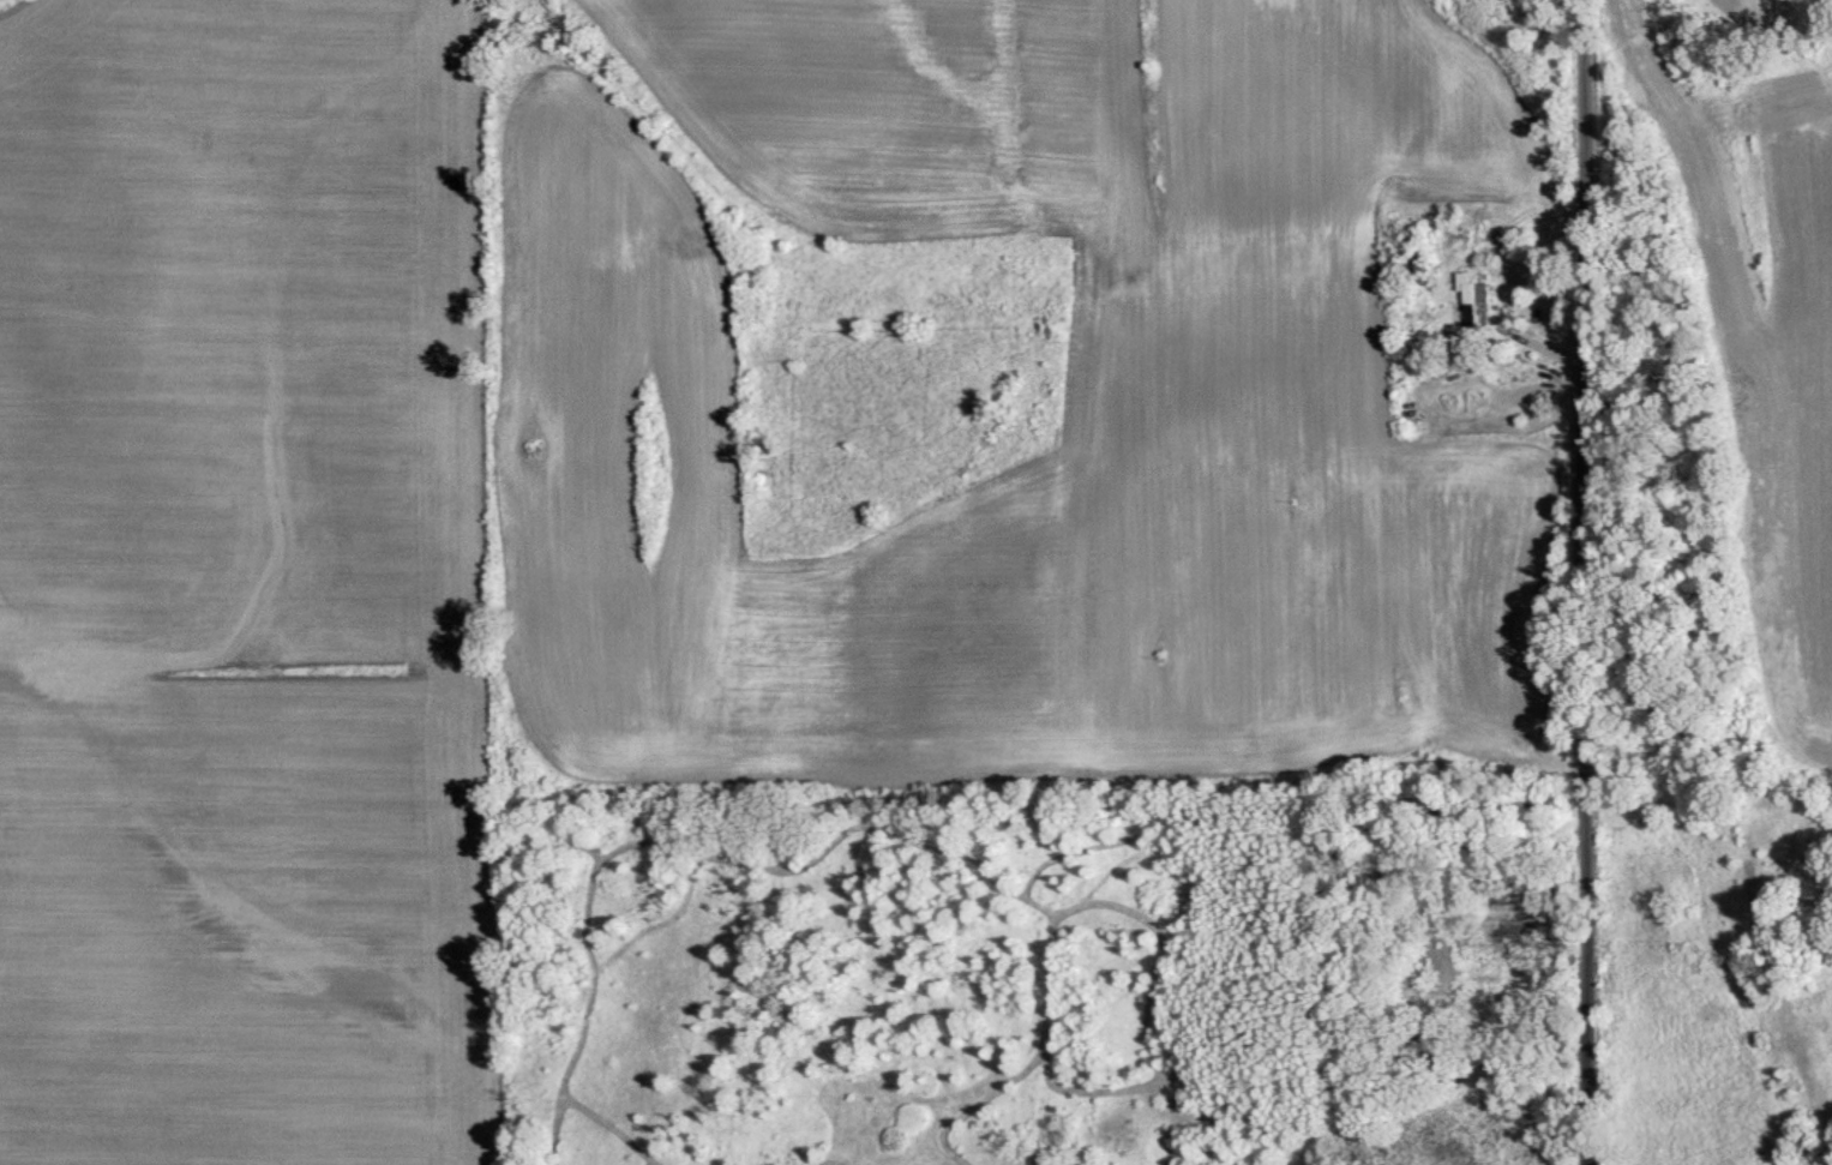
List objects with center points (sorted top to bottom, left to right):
building: (1473, 293)
building: (1501, 374)
road: (1585, 582)

